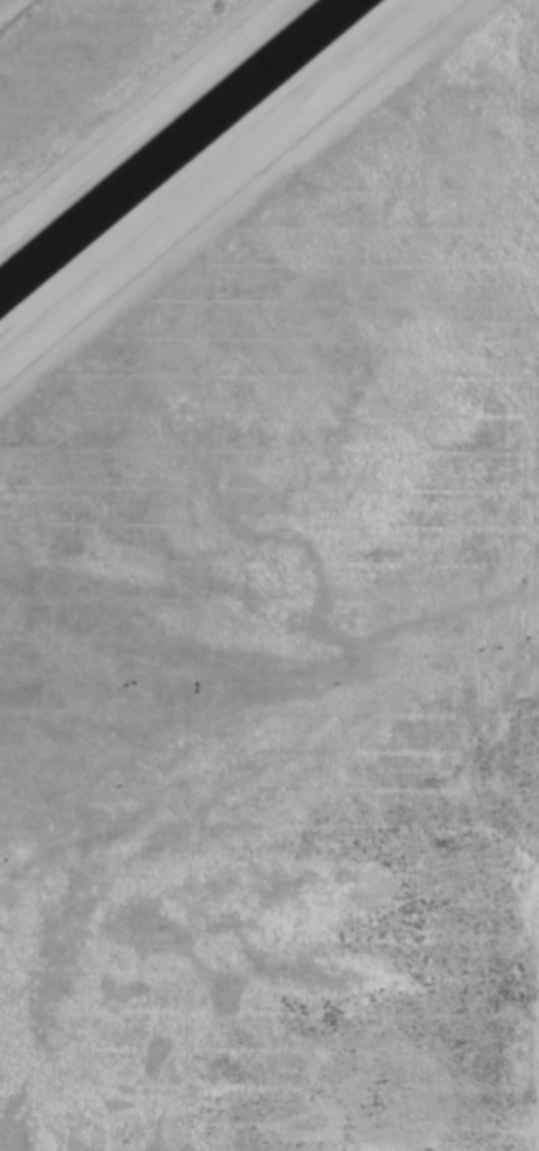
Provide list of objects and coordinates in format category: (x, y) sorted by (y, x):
crop: (82, 69)

